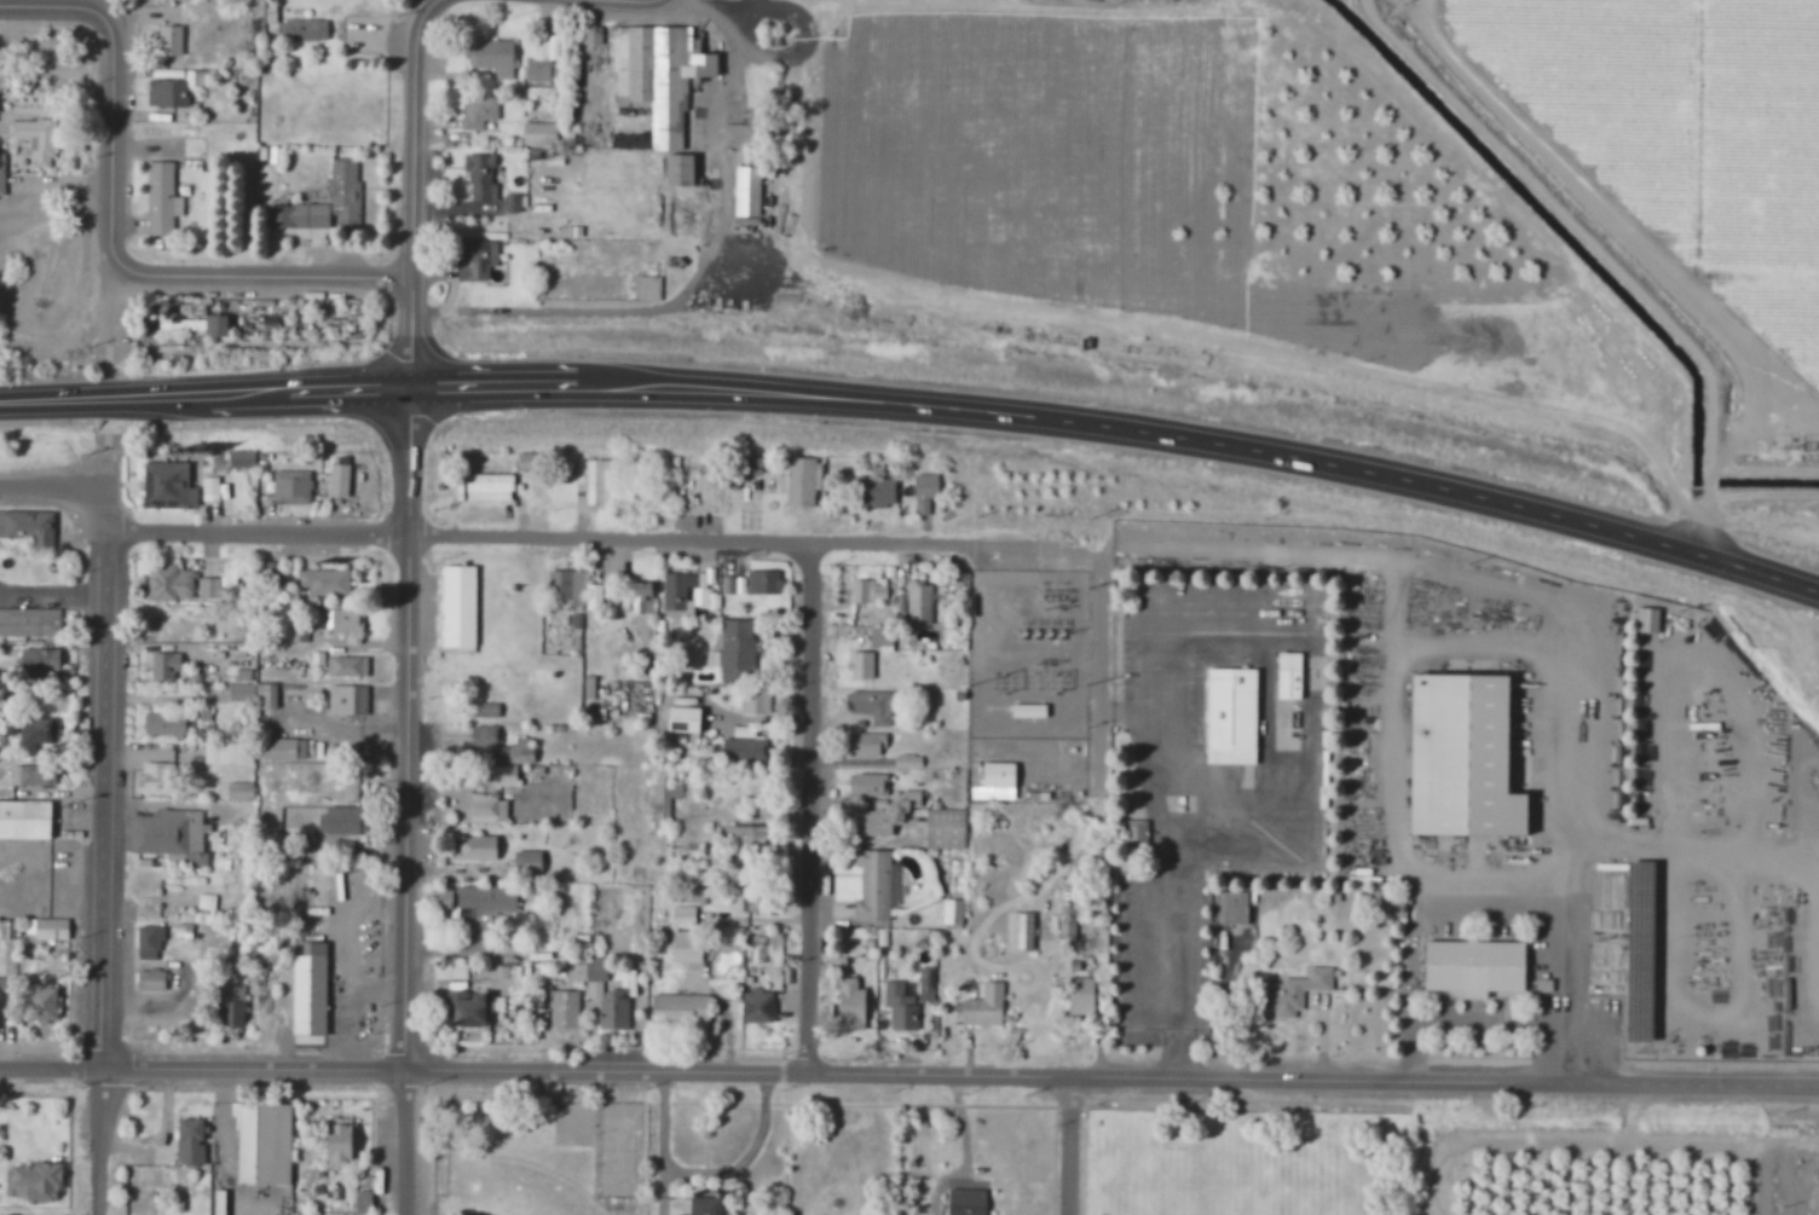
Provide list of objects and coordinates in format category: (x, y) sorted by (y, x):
road: (623, 1)
road: (59, 7)
road: (433, 7)
building: (304, 30)
building: (168, 40)
building: (491, 56)
building: (541, 59)
building: (657, 76)
building: (177, 89)
building: (477, 111)
building: (537, 133)
building: (734, 135)
building: (34, 138)
road: (119, 145)
building: (192, 147)
building: (676, 170)
building: (1, 174)
building: (480, 175)
building: (342, 183)
building: (746, 191)
building: (161, 198)
road: (414, 199)
building: (513, 203)
building: (474, 259)
road: (268, 277)
building: (647, 288)
building: (184, 319)
road: (120, 320)
building: (215, 325)
road: (506, 386)
road: (337, 390)
road: (237, 394)
road: (103, 398)
railway: (909, 430)
road: (1219, 444)
road: (114, 453)
building: (241, 459)
building: (337, 481)
building: (802, 481)
building: (601, 482)
road: (54, 484)
building: (167, 486)
building: (486, 487)
building: (209, 488)
building: (290, 488)
building: (876, 491)
building: (924, 492)
building: (30, 528)
road: (714, 543)
building: (226, 578)
building: (764, 582)
building: (324, 583)
building: (168, 584)
building: (733, 585)
building: (570, 586)
building: (207, 589)
building: (683, 590)
building: (871, 591)
building: (594, 596)
building: (640, 598)
building: (919, 603)
building: (457, 607)
building: (1647, 620)
building: (345, 621)
building: (29, 623)
building: (166, 631)
building: (880, 638)
building: (734, 652)
road: (1462, 653)
building: (37, 661)
building: (163, 666)
building: (860, 666)
building: (346, 667)
building: (243, 675)
building: (1287, 676)
building: (254, 695)
building: (346, 700)
building: (753, 701)
building: (873, 706)
building: (484, 711)
building: (1230, 717)
building: (681, 721)
building: (162, 725)
road: (409, 729)
building: (37, 731)
building: (483, 736)
building: (865, 745)
building: (743, 748)
building: (282, 750)
building: (226, 753)
building: (1459, 759)
building: (907, 762)
building: (510, 764)
building: (33, 775)
building: (155, 779)
building: (994, 782)
building: (866, 786)
road: (57, 792)
building: (238, 792)
building: (662, 800)
building: (485, 809)
road: (813, 809)
building: (25, 820)
road: (81, 821)
building: (339, 821)
building: (871, 825)
building: (945, 829)
building: (169, 837)
building: (751, 839)
building: (341, 849)
building: (475, 849)
road: (111, 850)
building: (525, 863)
building: (872, 886)
building: (688, 896)
building: (486, 899)
building: (206, 902)
building: (1232, 908)
building: (952, 913)
building: (682, 918)
building: (50, 930)
building: (181, 932)
building: (1021, 932)
building: (148, 943)
building: (686, 948)
road: (1180, 960)
building: (1472, 968)
building: (512, 974)
building: (149, 980)
building: (925, 984)
building: (753, 988)
building: (307, 989)
building: (1293, 991)
building: (1079, 996)
building: (560, 1002)
building: (607, 1002)
building: (37, 1006)
building: (849, 1006)
building: (230, 1007)
building: (900, 1007)
building: (983, 1007)
building: (678, 1008)
building: (756, 1008)
building: (469, 1009)
building: (6, 1011)
road: (206, 1071)
road: (1115, 1077)
building: (189, 1141)
building: (337, 1141)
building: (261, 1142)
road: (411, 1144)
road: (1080, 1146)
road: (704, 1174)
building: (31, 1180)
building: (965, 1202)
building: (701, 1205)

